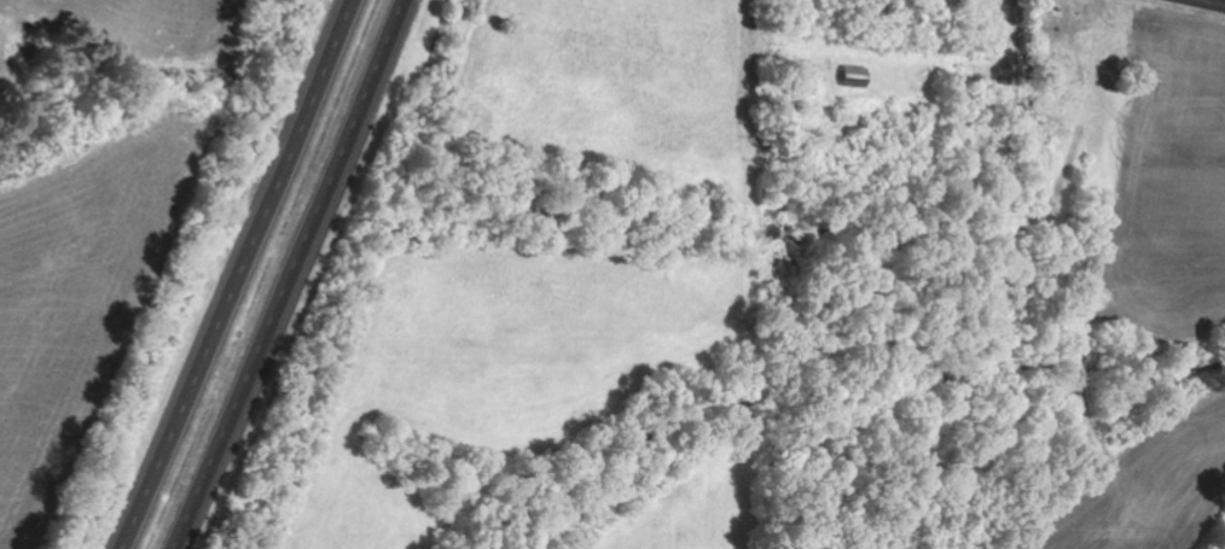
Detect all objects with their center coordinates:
road: (1212, 2)
road: (237, 274)
road: (295, 275)

